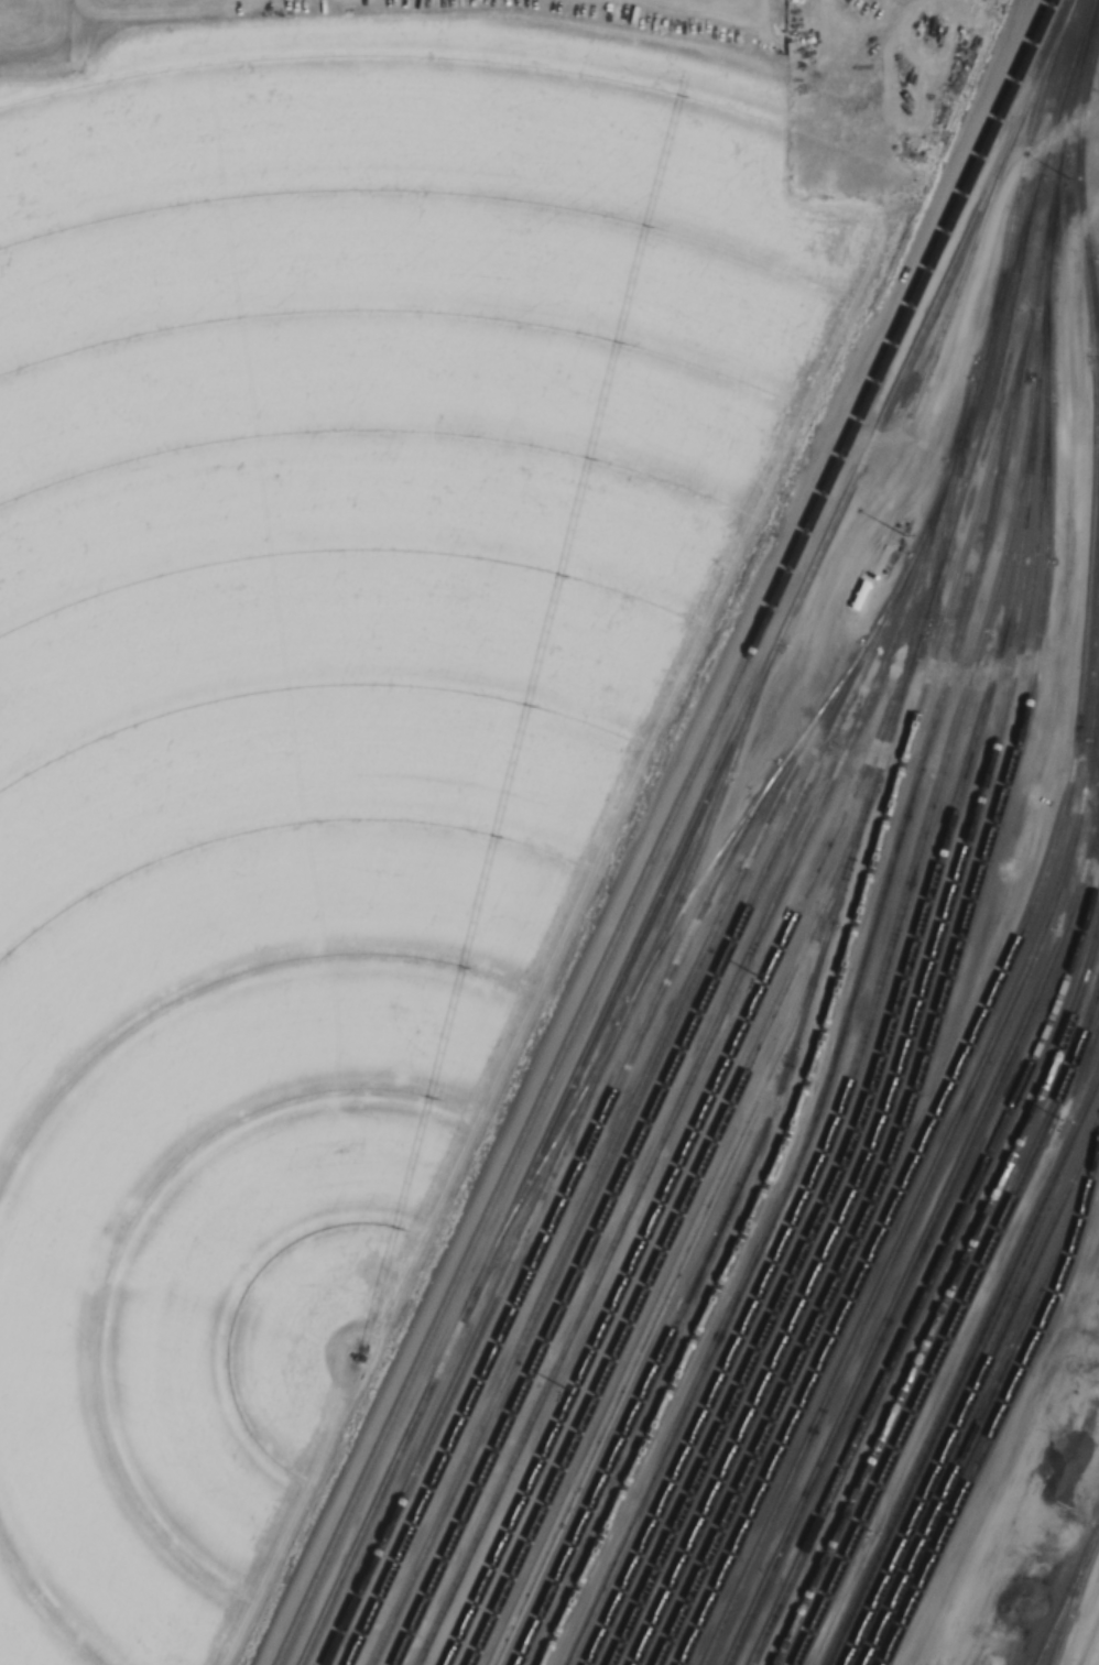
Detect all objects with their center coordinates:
railway: (1077, 182)
road: (934, 211)
railway: (966, 263)
railway: (992, 374)
railway: (1097, 393)
road: (874, 440)
railway: (917, 544)
building: (883, 561)
railway: (708, 820)
railway: (685, 831)
railway: (664, 833)
railway: (849, 852)
railway: (980, 858)
railway: (866, 937)
building: (1021, 944)
railway: (897, 986)
railway: (831, 989)
railway: (992, 990)
railway: (860, 1038)
road: (543, 1044)
railway: (901, 1052)
railway: (689, 1077)
railway: (644, 1119)
railway: (1097, 1133)
railway: (555, 1139)
railway: (945, 1141)
railway: (599, 1163)
railway: (674, 1165)
railway: (671, 1223)
railway: (549, 1225)
railway: (925, 1231)
railway: (933, 1261)
railway: (944, 1294)
railway: (655, 1307)
railway: (951, 1323)
road: (1088, 1331)
railway: (469, 1348)
railway: (961, 1365)
railway: (973, 1384)
railway: (982, 1405)
railway: (999, 1408)
railway: (1096, 1532)
railway: (1070, 1601)
railway: (1063, 1602)
road: (1086, 1637)

